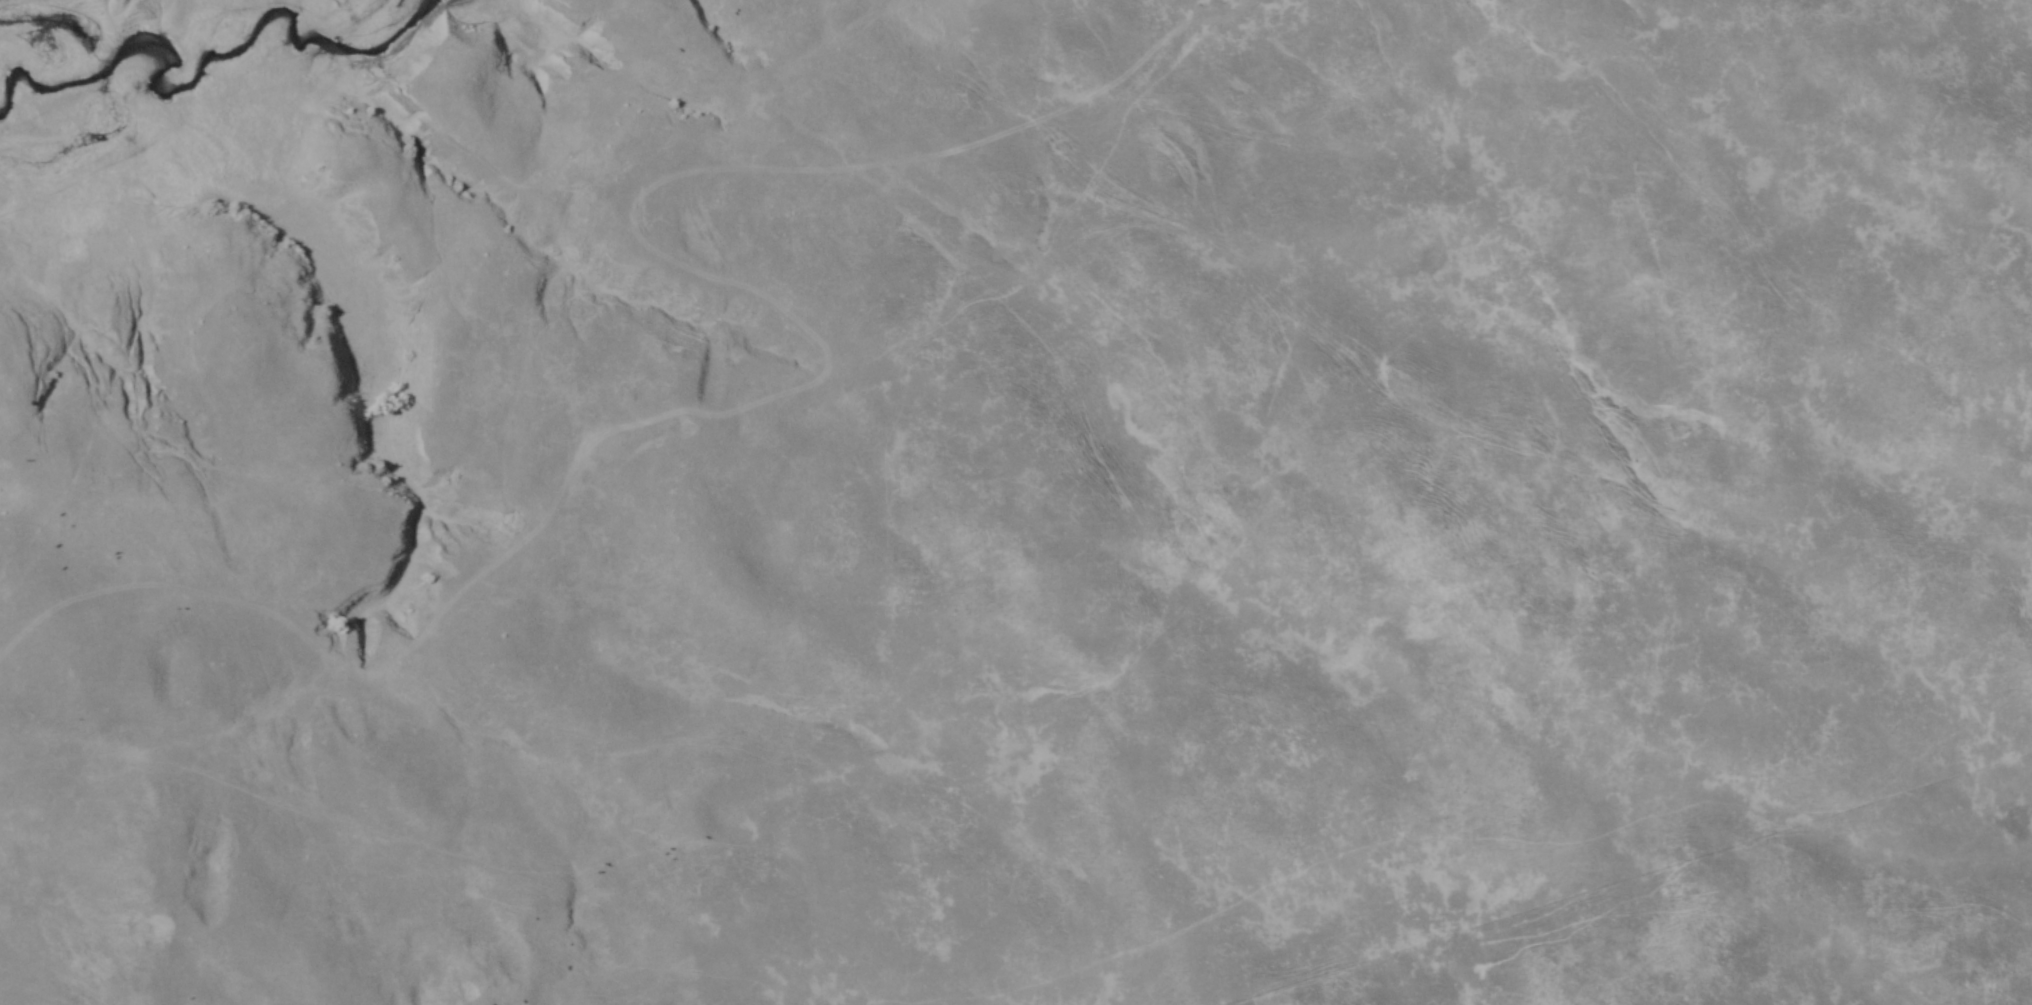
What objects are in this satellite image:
river: (174, 89)

